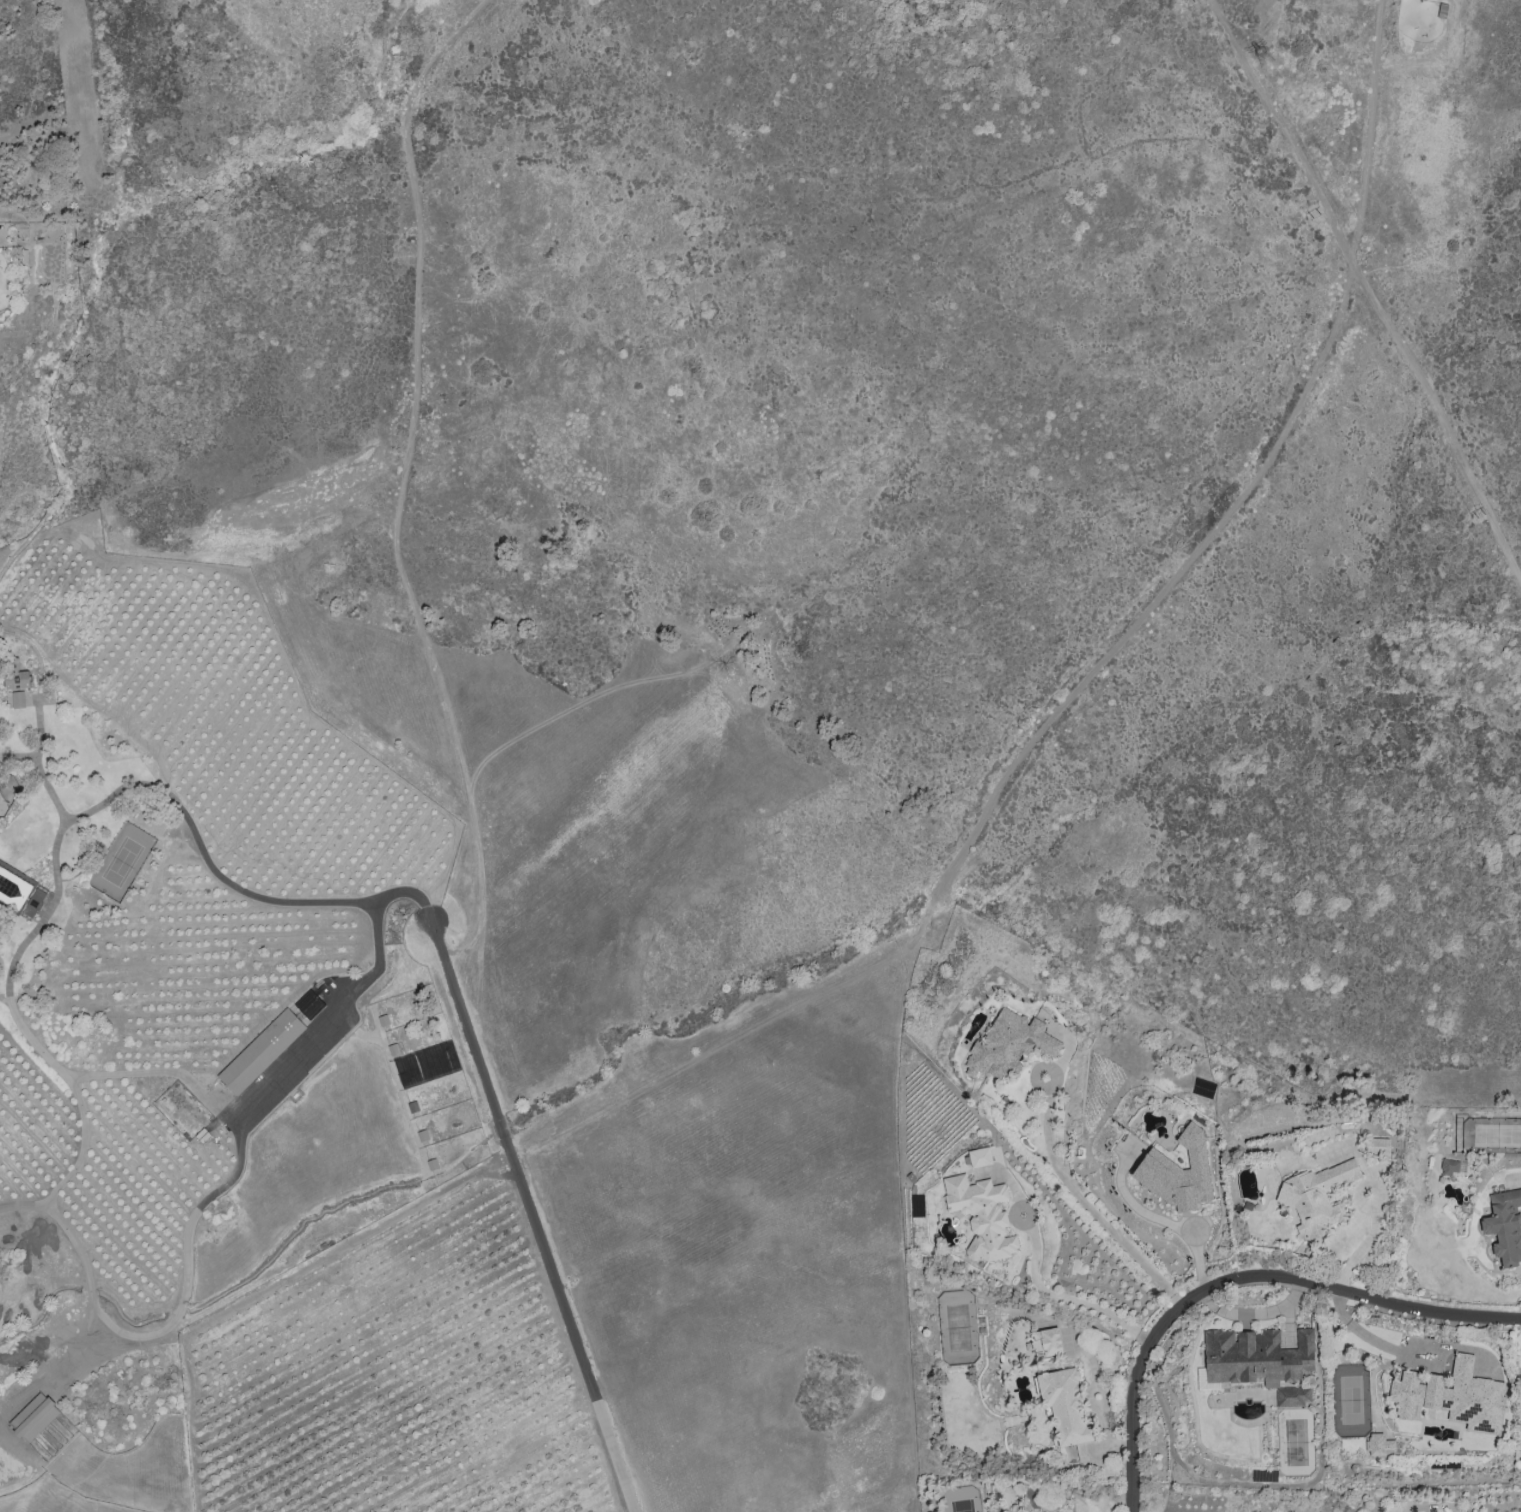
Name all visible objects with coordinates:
power tower: (1264, 58)
power tower: (1313, 210)
road: (1441, 421)
power tower: (1475, 512)
road: (398, 562)
park: (748, 641)
building: (17, 680)
road: (1081, 683)
building: (18, 699)
building: (13, 888)
road: (316, 902)
building: (34, 903)
road: (484, 925)
building: (309, 1004)
building: (1009, 1045)
building: (261, 1051)
building: (427, 1064)
building: (1203, 1088)
road: (493, 1105)
building: (1378, 1147)
building: (980, 1157)
building: (1450, 1166)
building: (1178, 1172)
road: (1357, 1194)
building: (1316, 1197)
road: (1378, 1202)
road: (1086, 1203)
road: (22, 1206)
building: (981, 1215)
road: (1162, 1220)
building: (1504, 1226)
road: (1239, 1279)
road: (1061, 1296)
road: (575, 1338)
building: (1047, 1342)
building: (1253, 1357)
building: (1293, 1396)
building: (1453, 1396)
building: (1064, 1406)
building: (34, 1417)
building: (1378, 1445)

